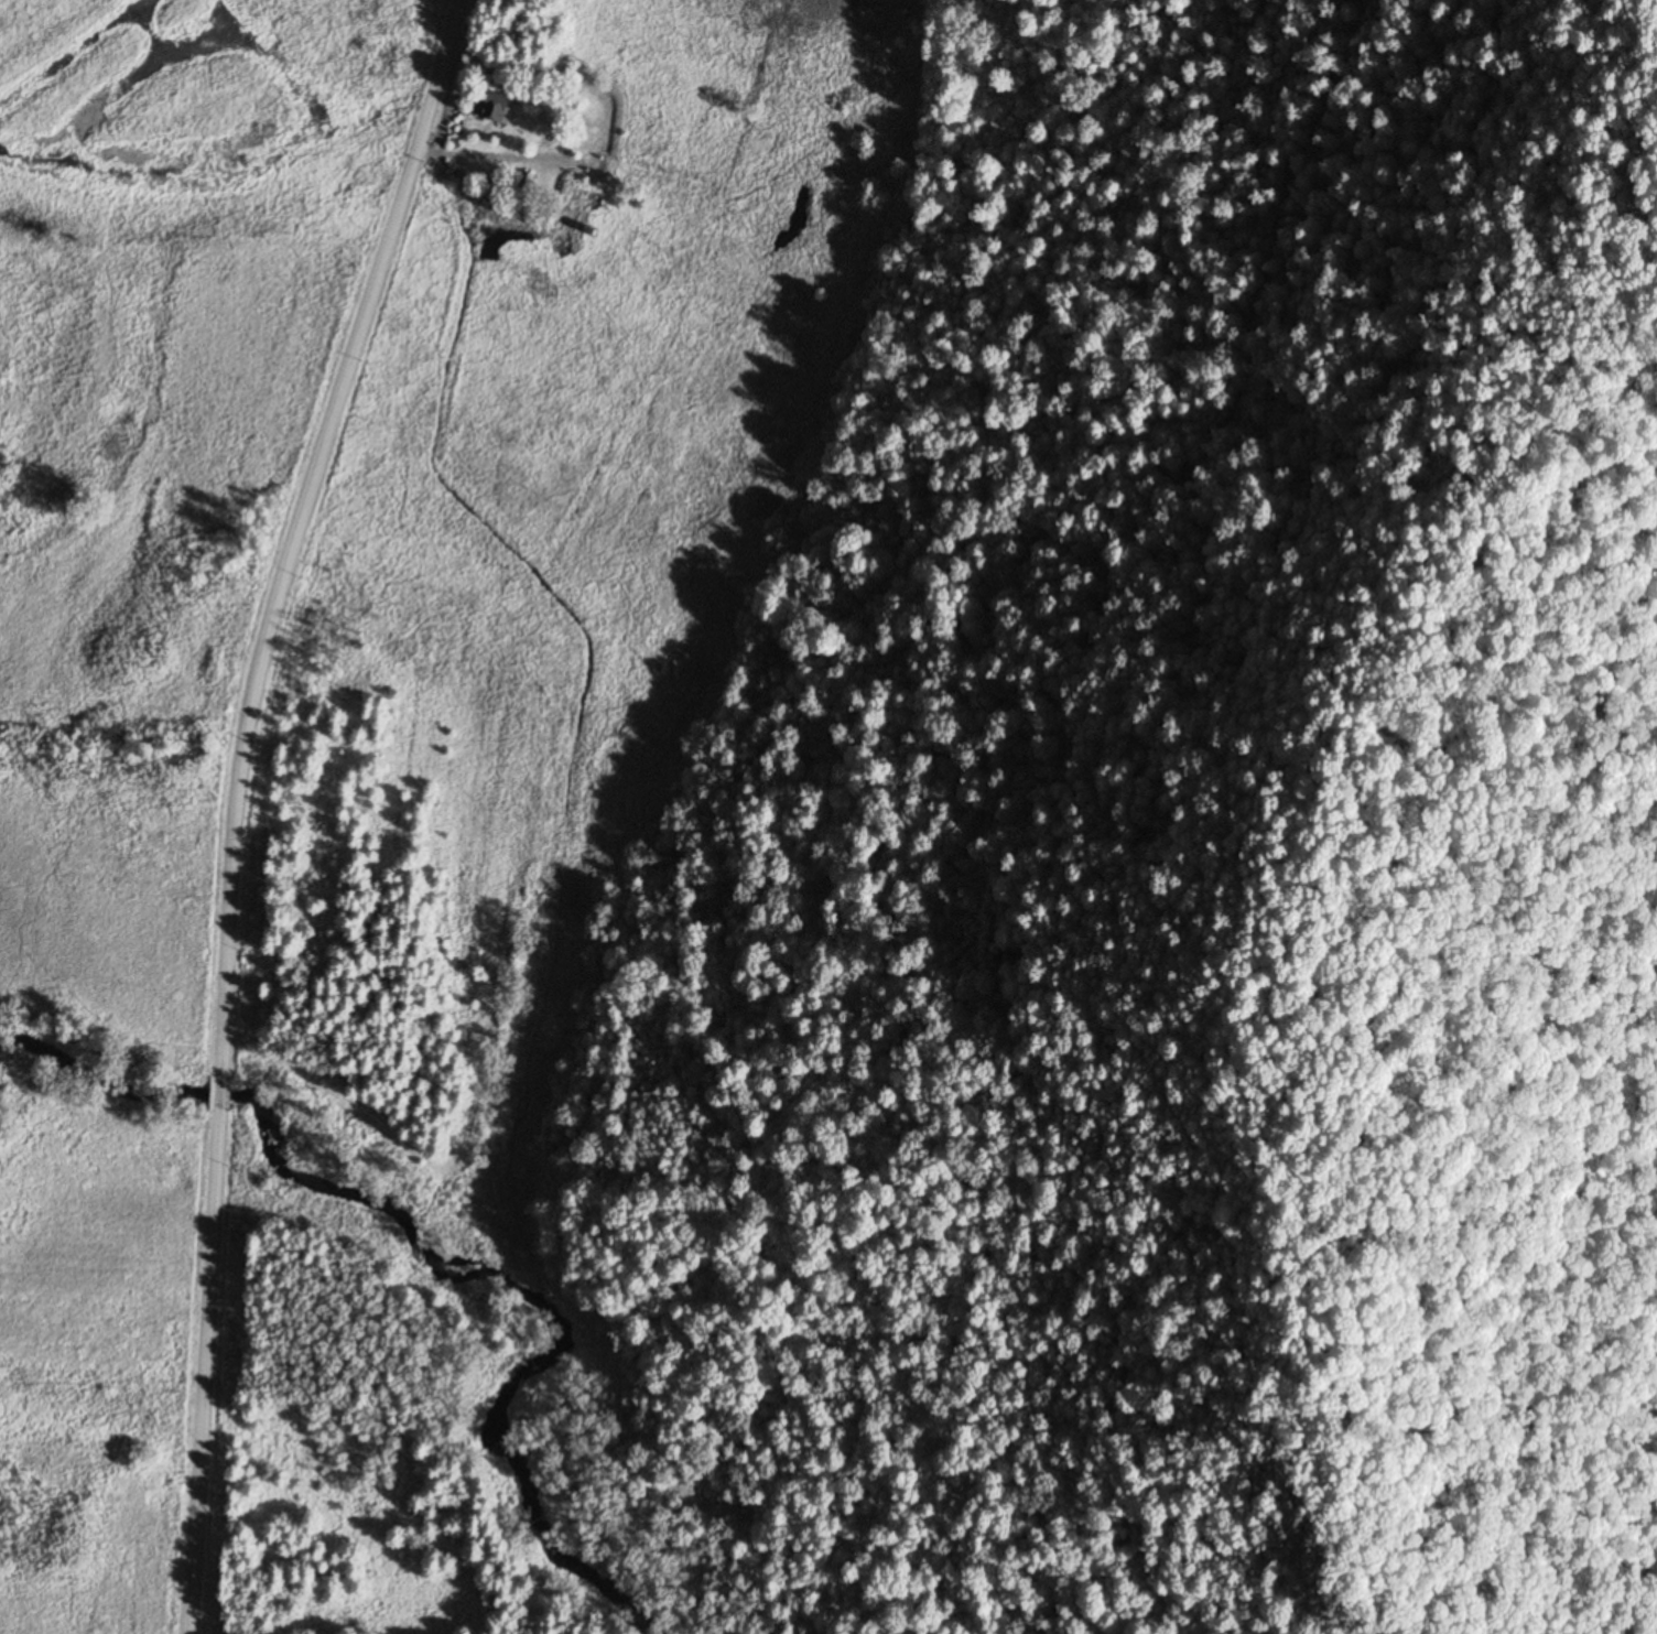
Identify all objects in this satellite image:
building: (494, 106)
building: (526, 184)
road: (239, 801)

